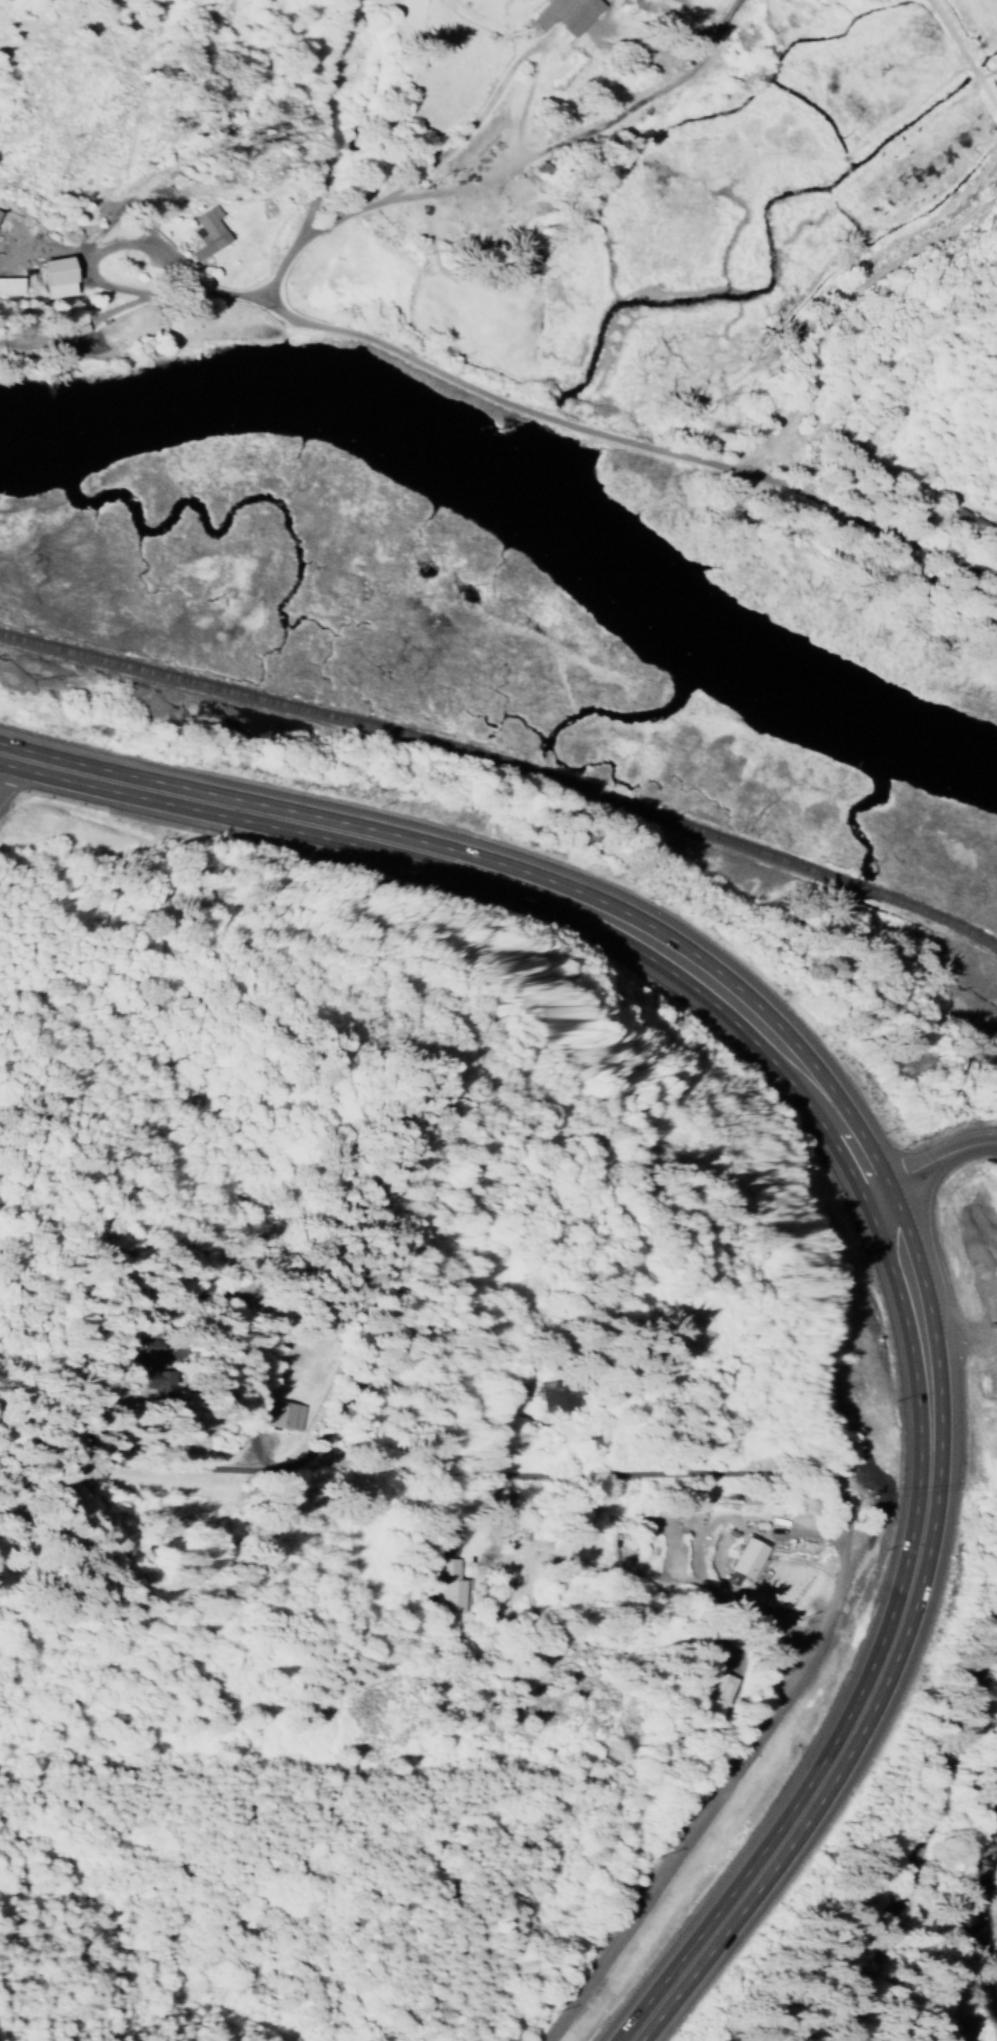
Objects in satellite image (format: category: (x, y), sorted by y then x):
building: (563, 15)
building: (204, 234)
building: (51, 280)
building: (8, 288)
road: (616, 436)
river: (522, 500)
road: (3, 763)
railway: (504, 788)
road: (852, 1159)
road: (930, 1159)
road: (993, 1244)
road: (956, 1341)
building: (145, 1355)
building: (155, 1384)
building: (556, 1397)
building: (277, 1416)
road: (640, 1477)
building: (743, 1563)
building: (447, 1585)
building: (713, 1686)
railway: (919, 1839)
road: (676, 1865)

